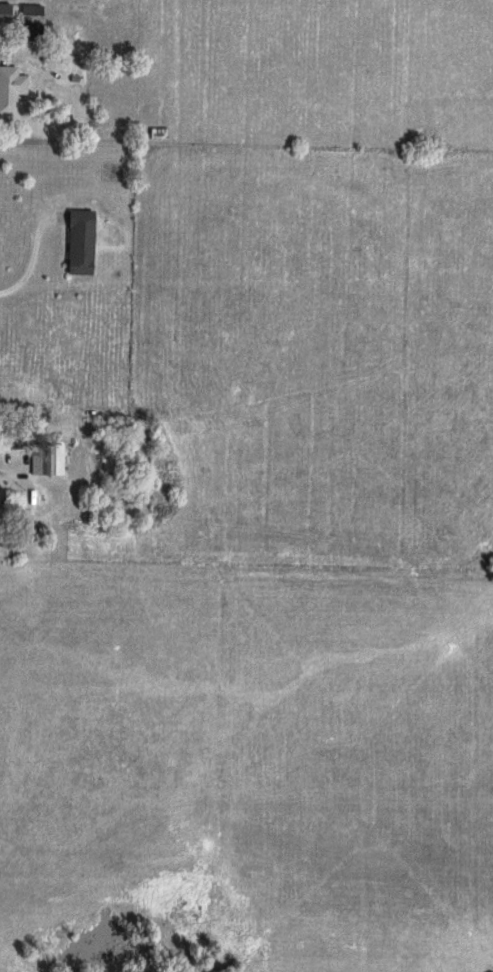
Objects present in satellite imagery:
building: (3, 15)
building: (8, 90)
building: (76, 243)
building: (44, 462)

